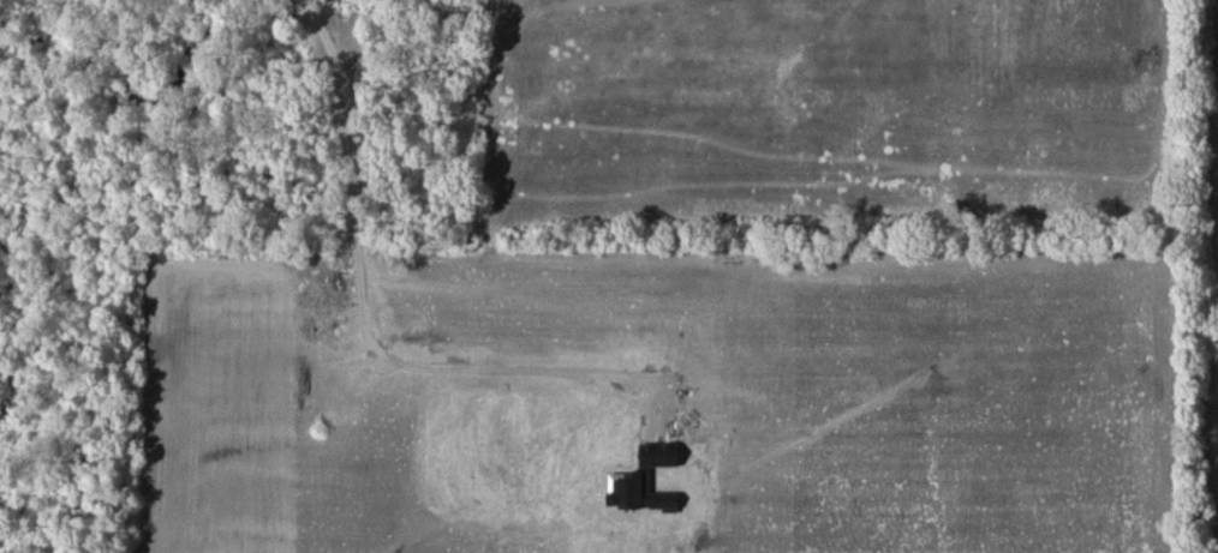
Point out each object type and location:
park: (1205, 269)
road: (363, 308)

